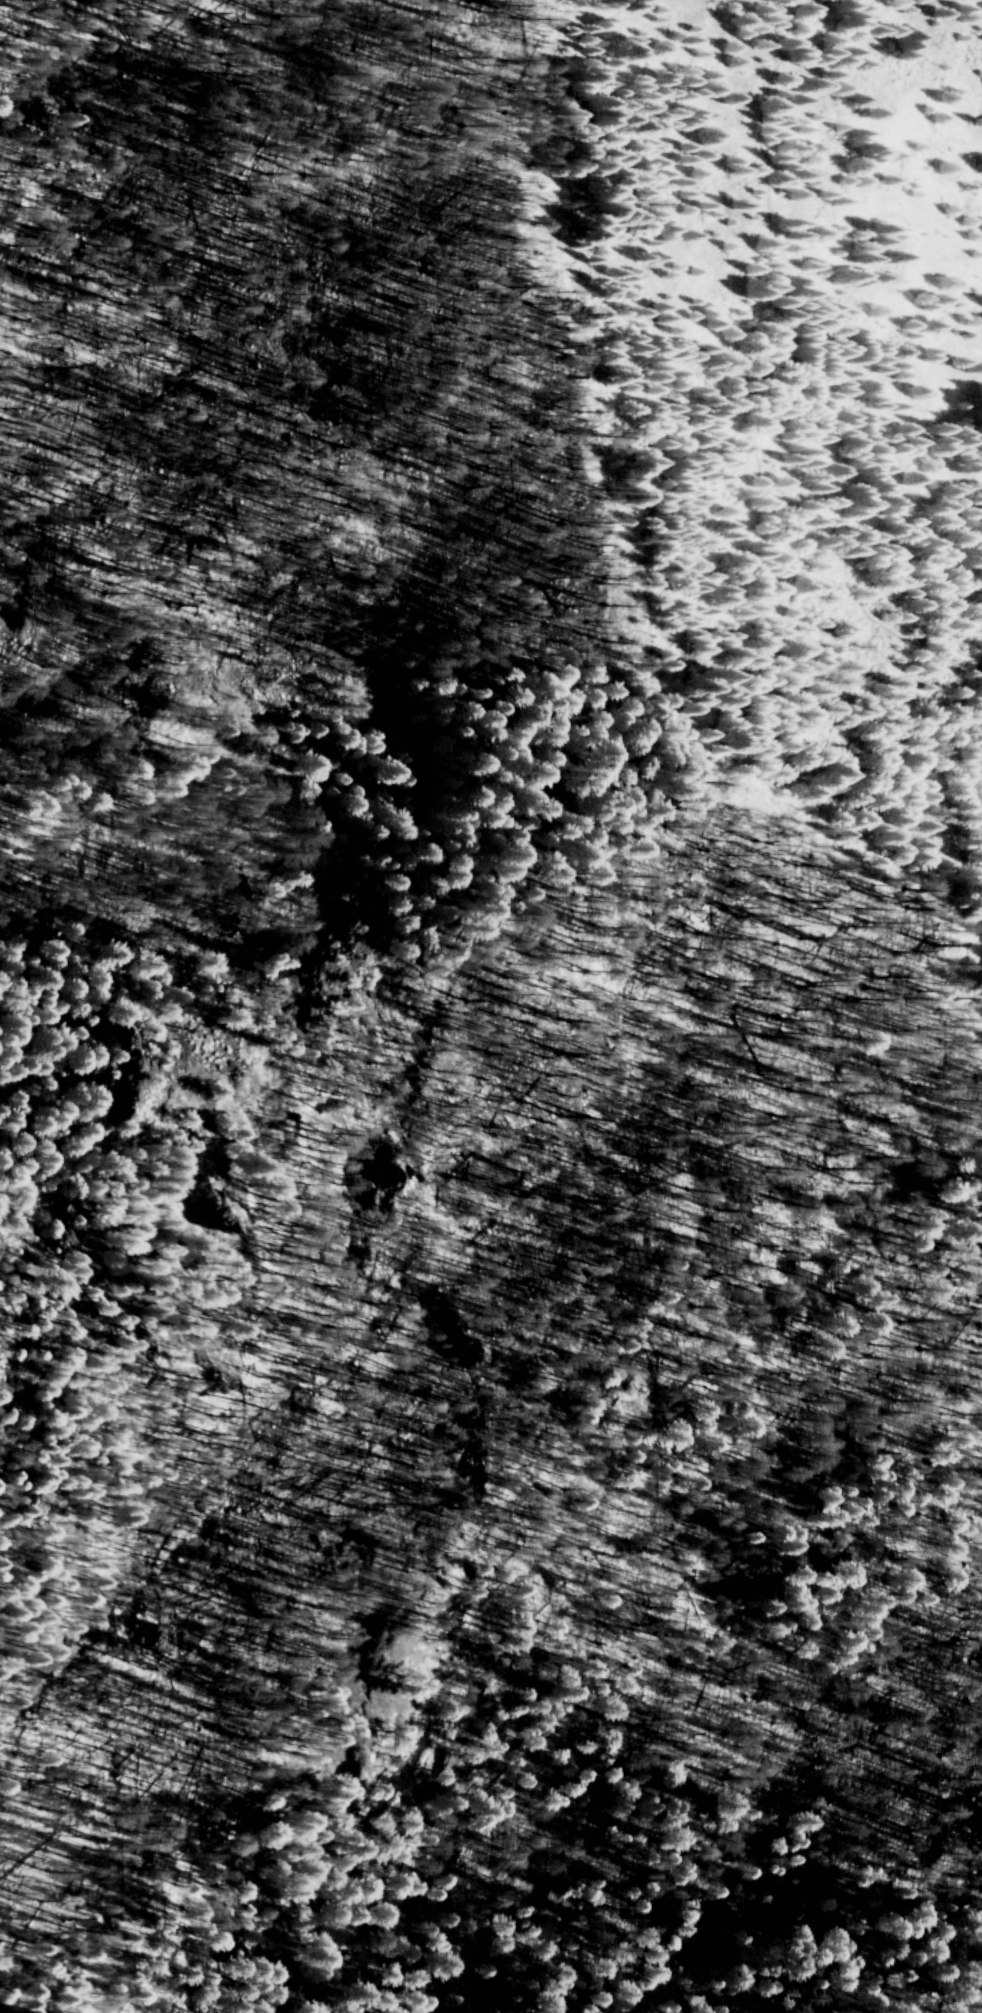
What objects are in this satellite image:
road: (747, 383)

